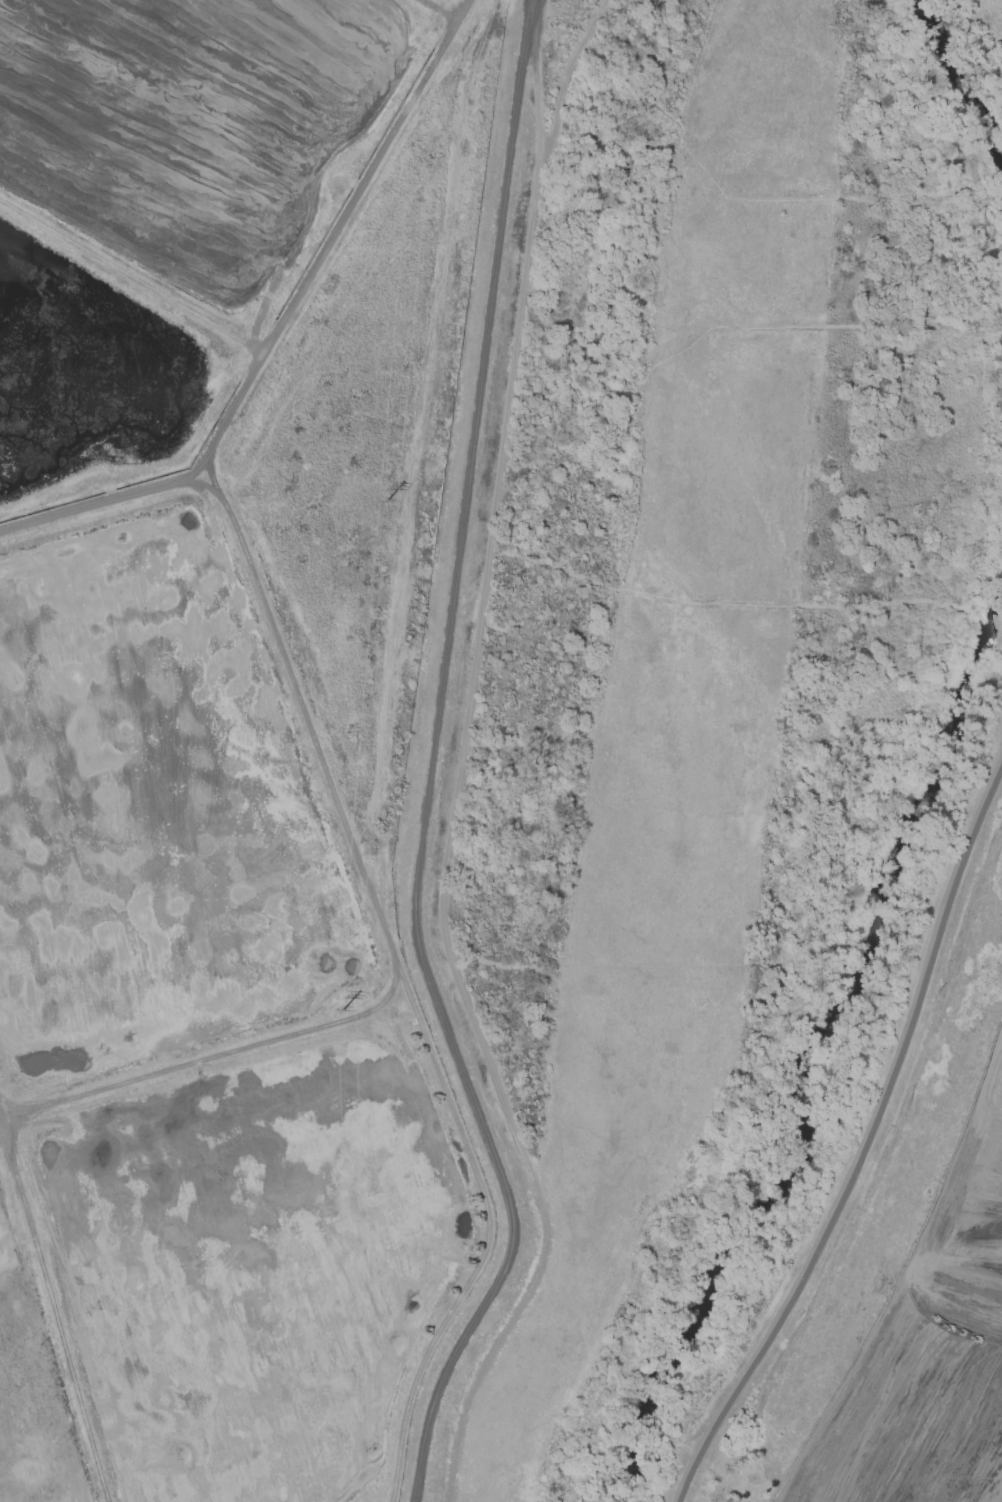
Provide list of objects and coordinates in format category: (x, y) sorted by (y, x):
river: (962, 74)
power tower: (385, 500)
road: (461, 760)
building: (367, 850)
power tower: (341, 1008)
river: (820, 1061)
road: (869, 1149)
road: (941, 1335)
road: (978, 1400)
road: (813, 1450)
road: (852, 1452)
road: (951, 1464)
road: (900, 1496)

